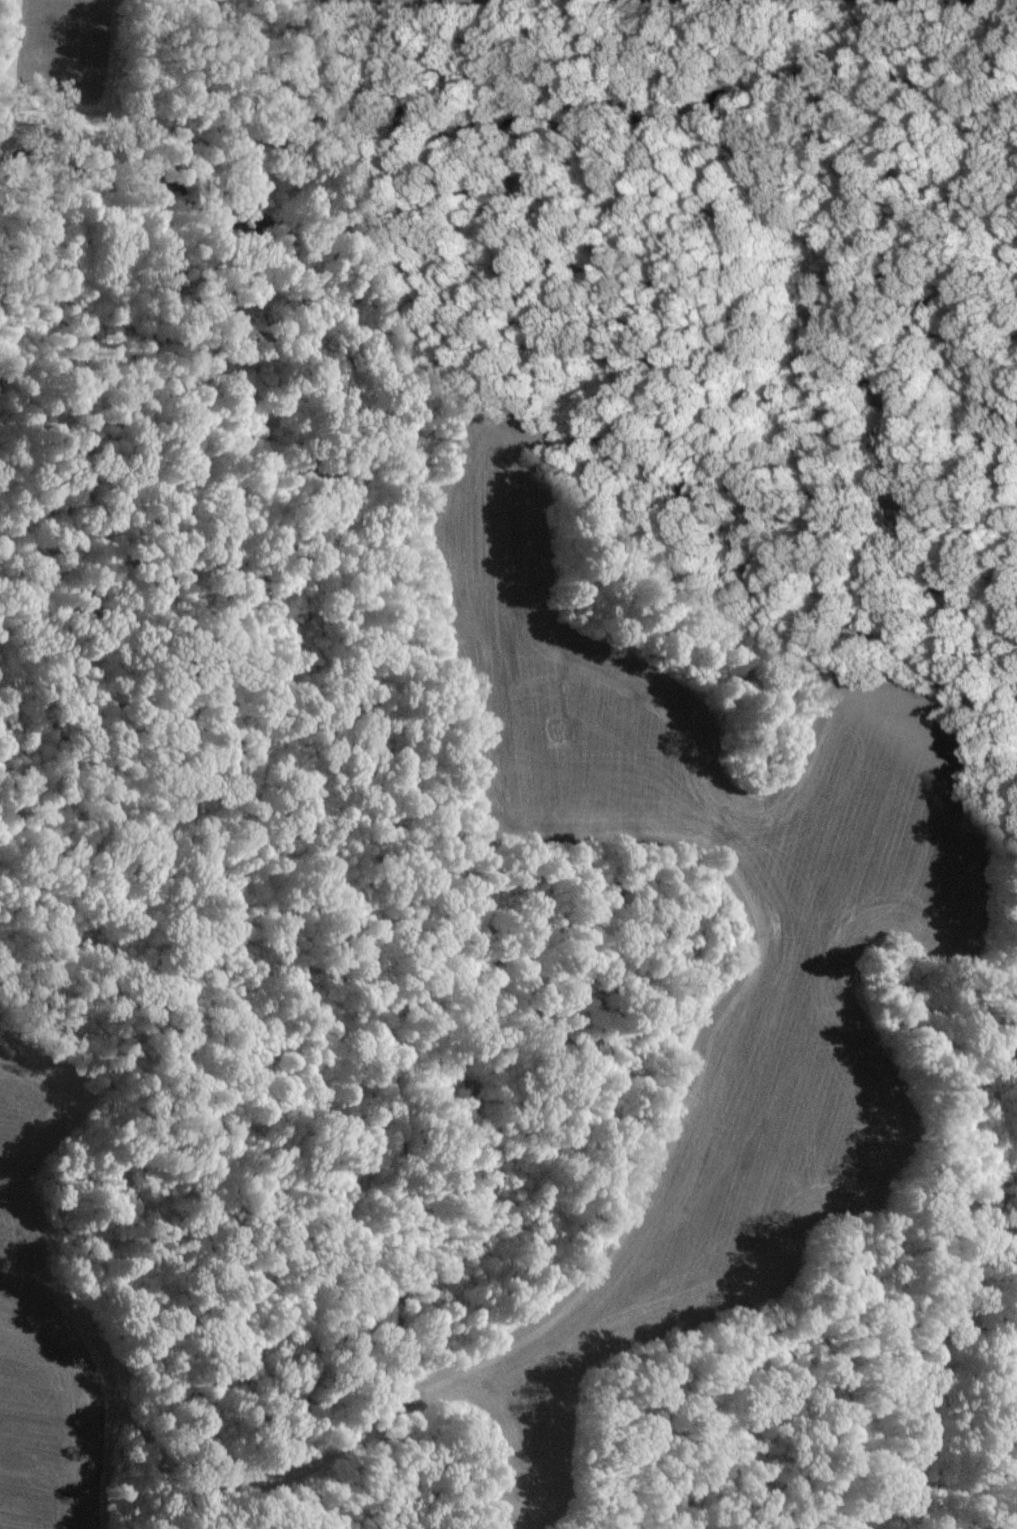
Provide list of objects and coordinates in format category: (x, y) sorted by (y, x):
road: (473, 1)
road: (660, 2)
road: (993, 2)

